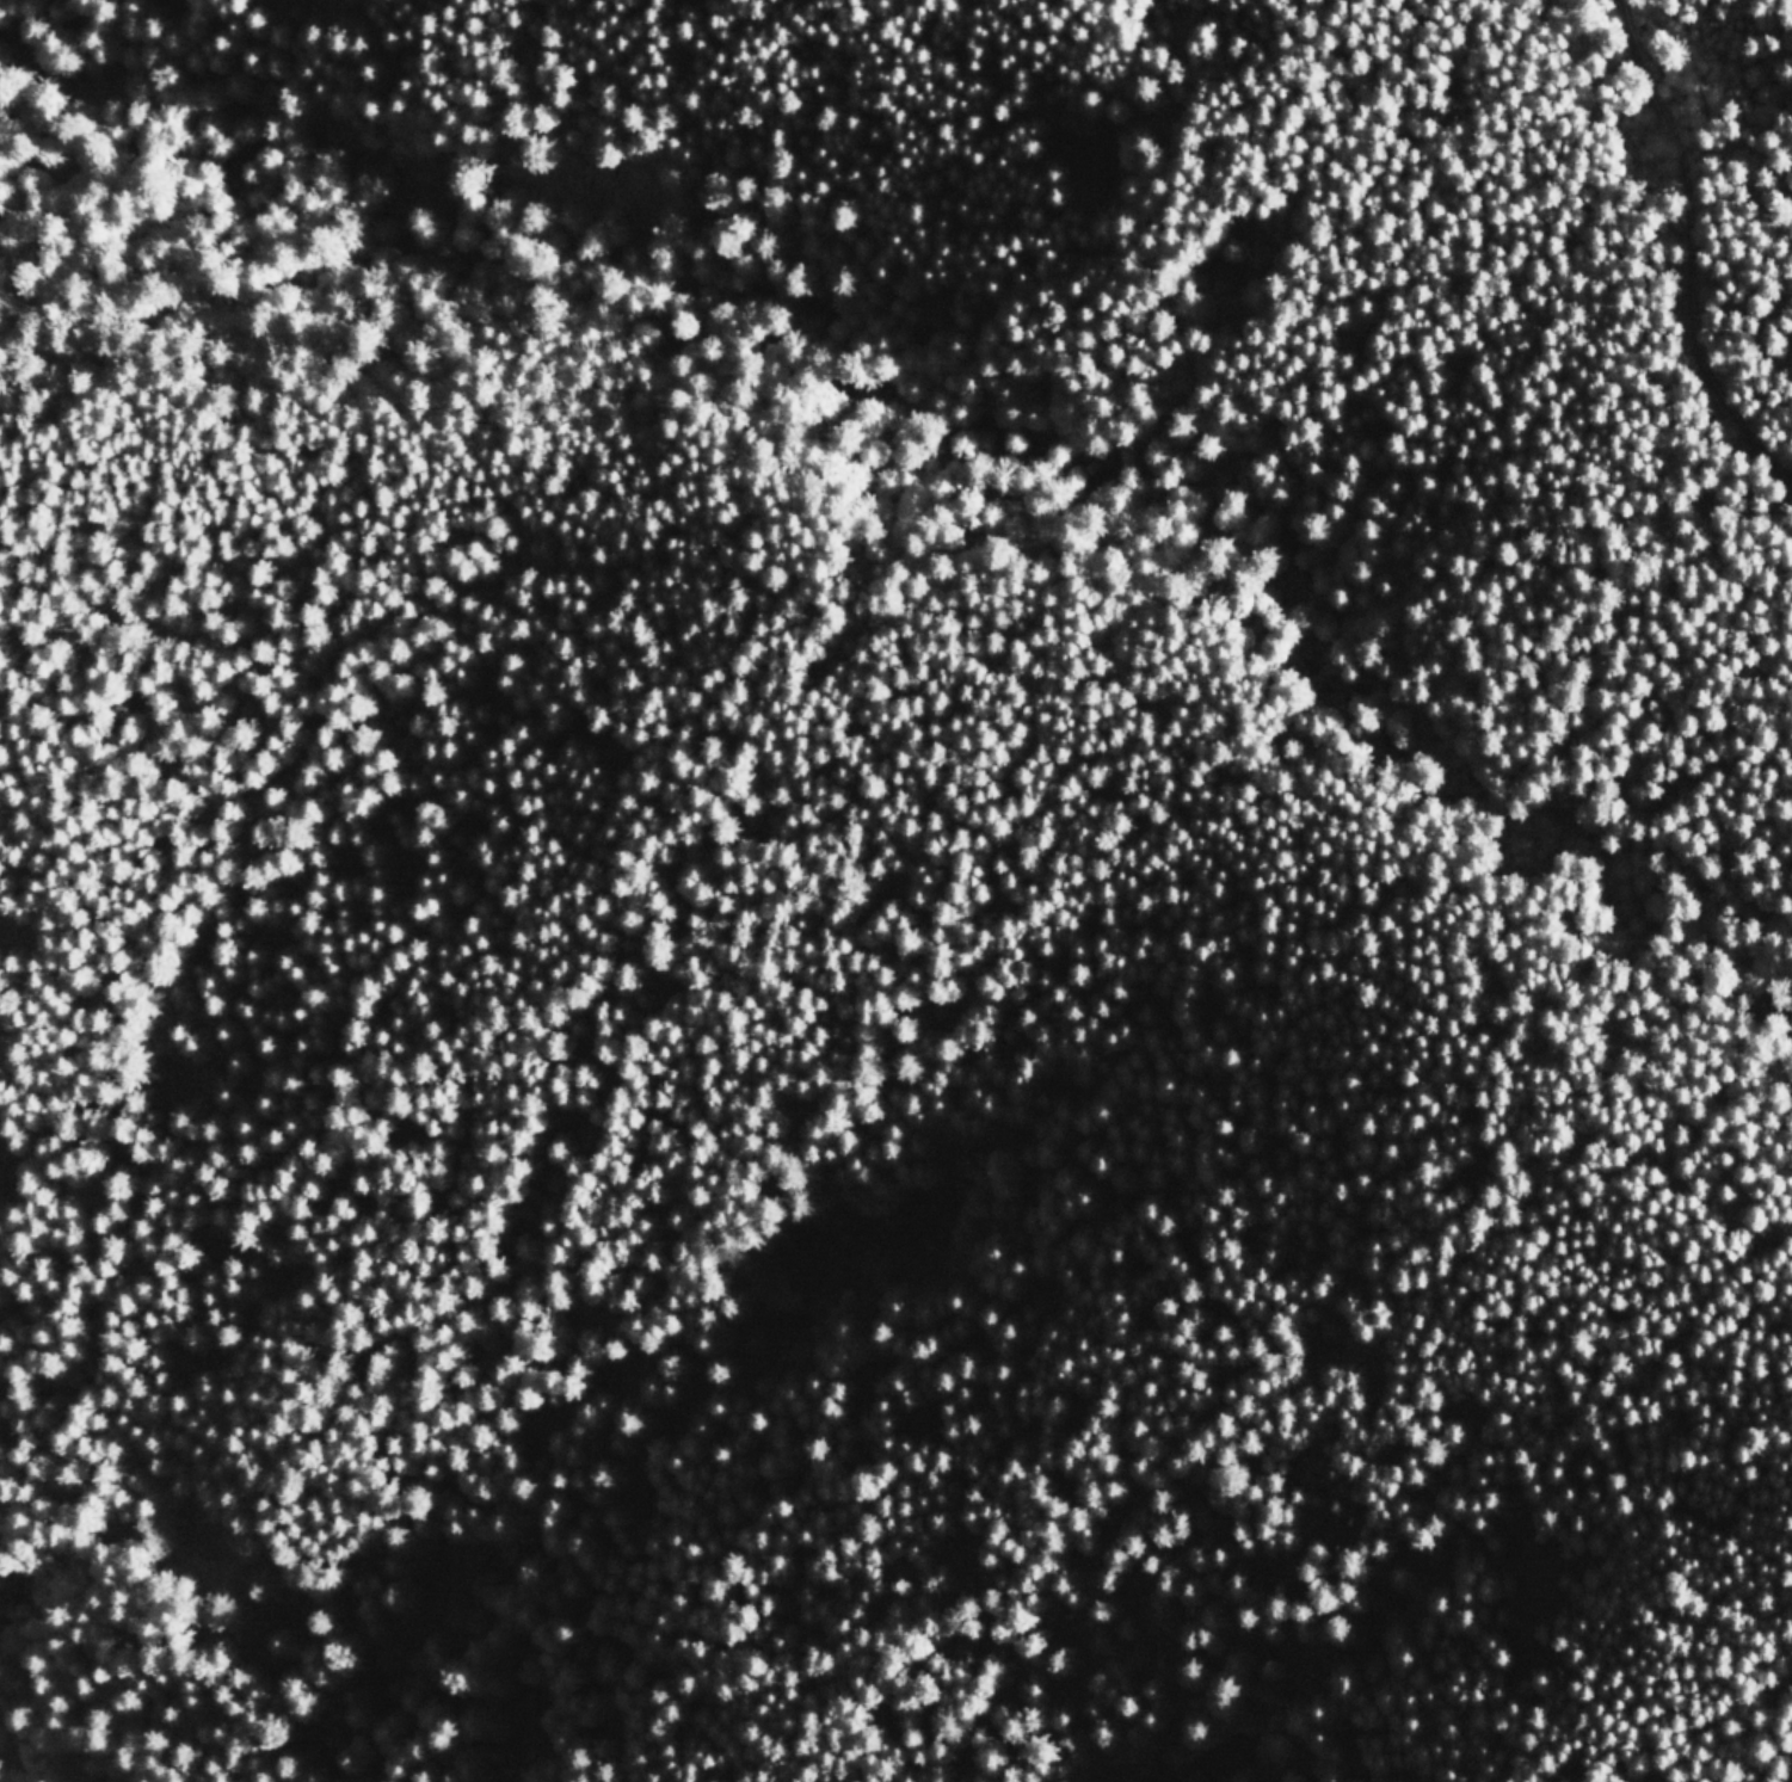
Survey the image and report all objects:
road: (1680, 257)

